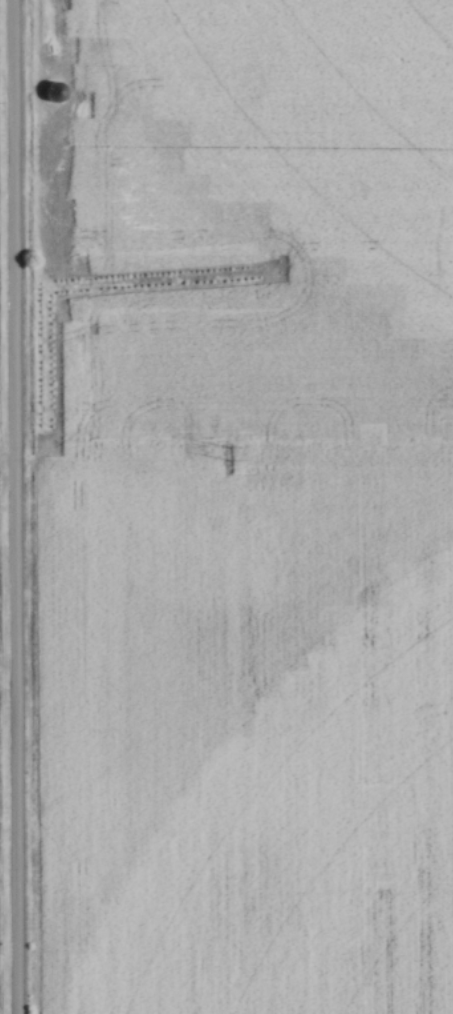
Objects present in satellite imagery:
building: (56, 94)
power tower: (226, 455)
road: (9, 507)

